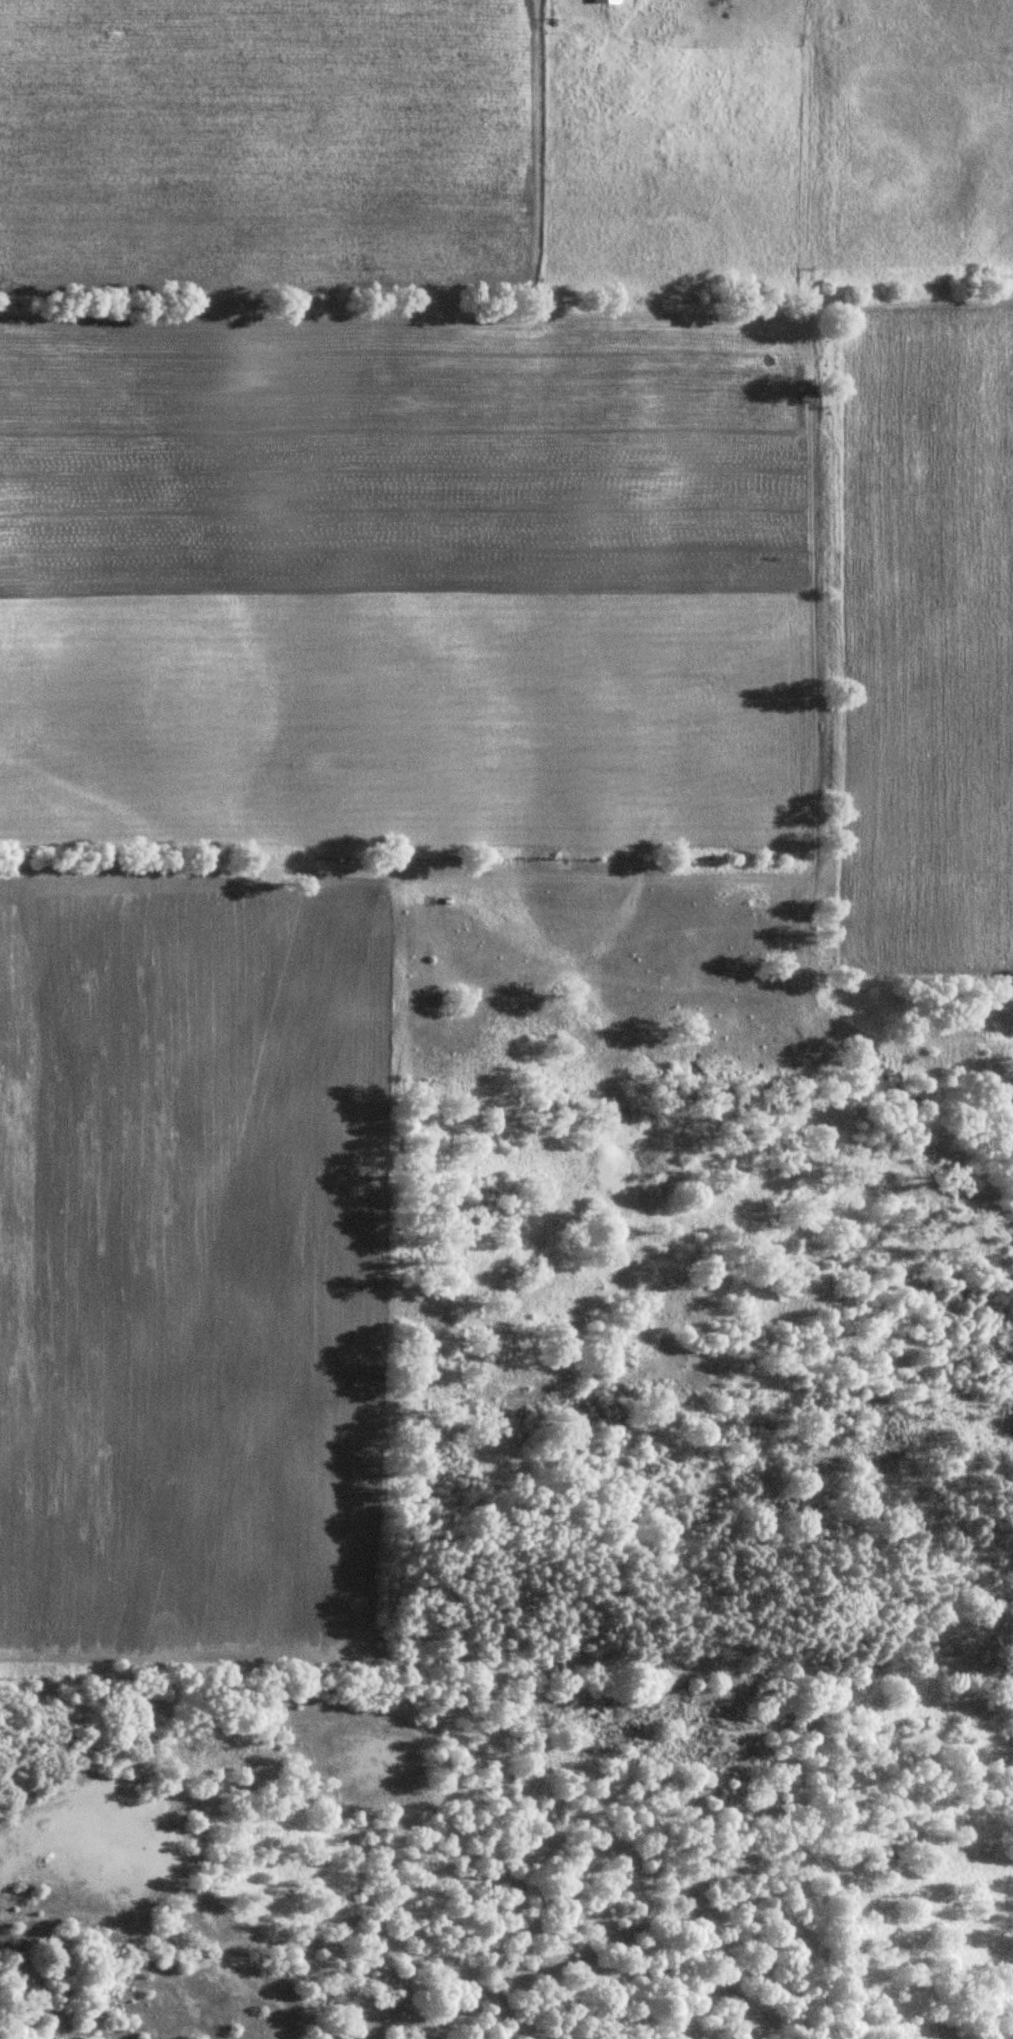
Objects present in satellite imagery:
building: (599, 0)

